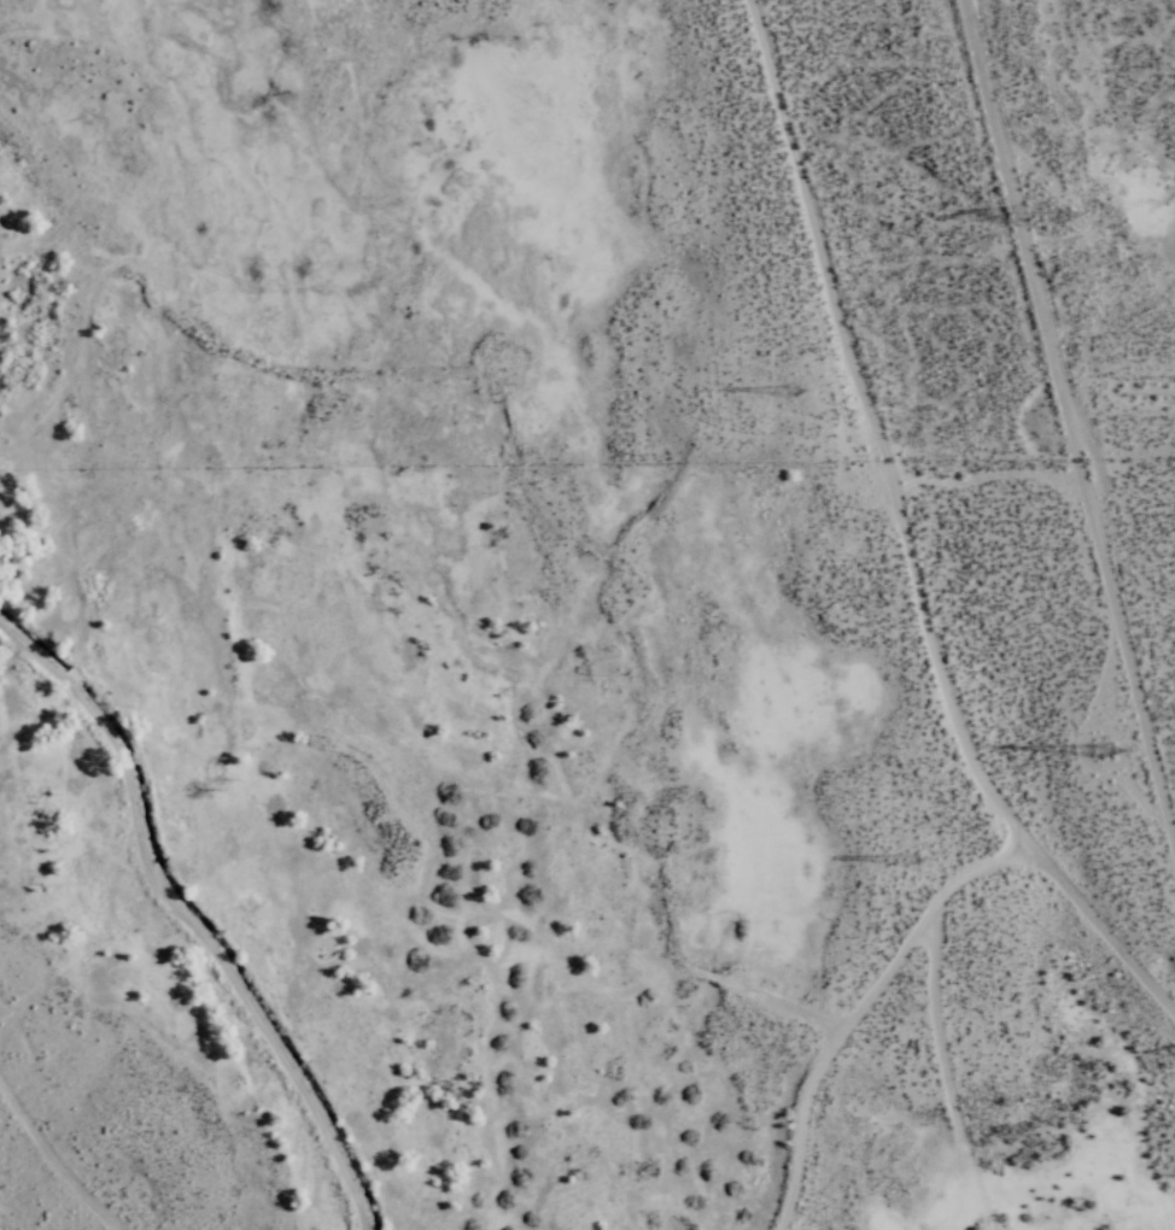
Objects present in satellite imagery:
power tower: (1054, 213)
power tower: (790, 397)
road: (1070, 404)
road: (904, 538)
power tower: (1101, 757)
power tower: (907, 855)
road: (187, 919)
road: (861, 1012)
road: (955, 1083)
road: (54, 1158)

